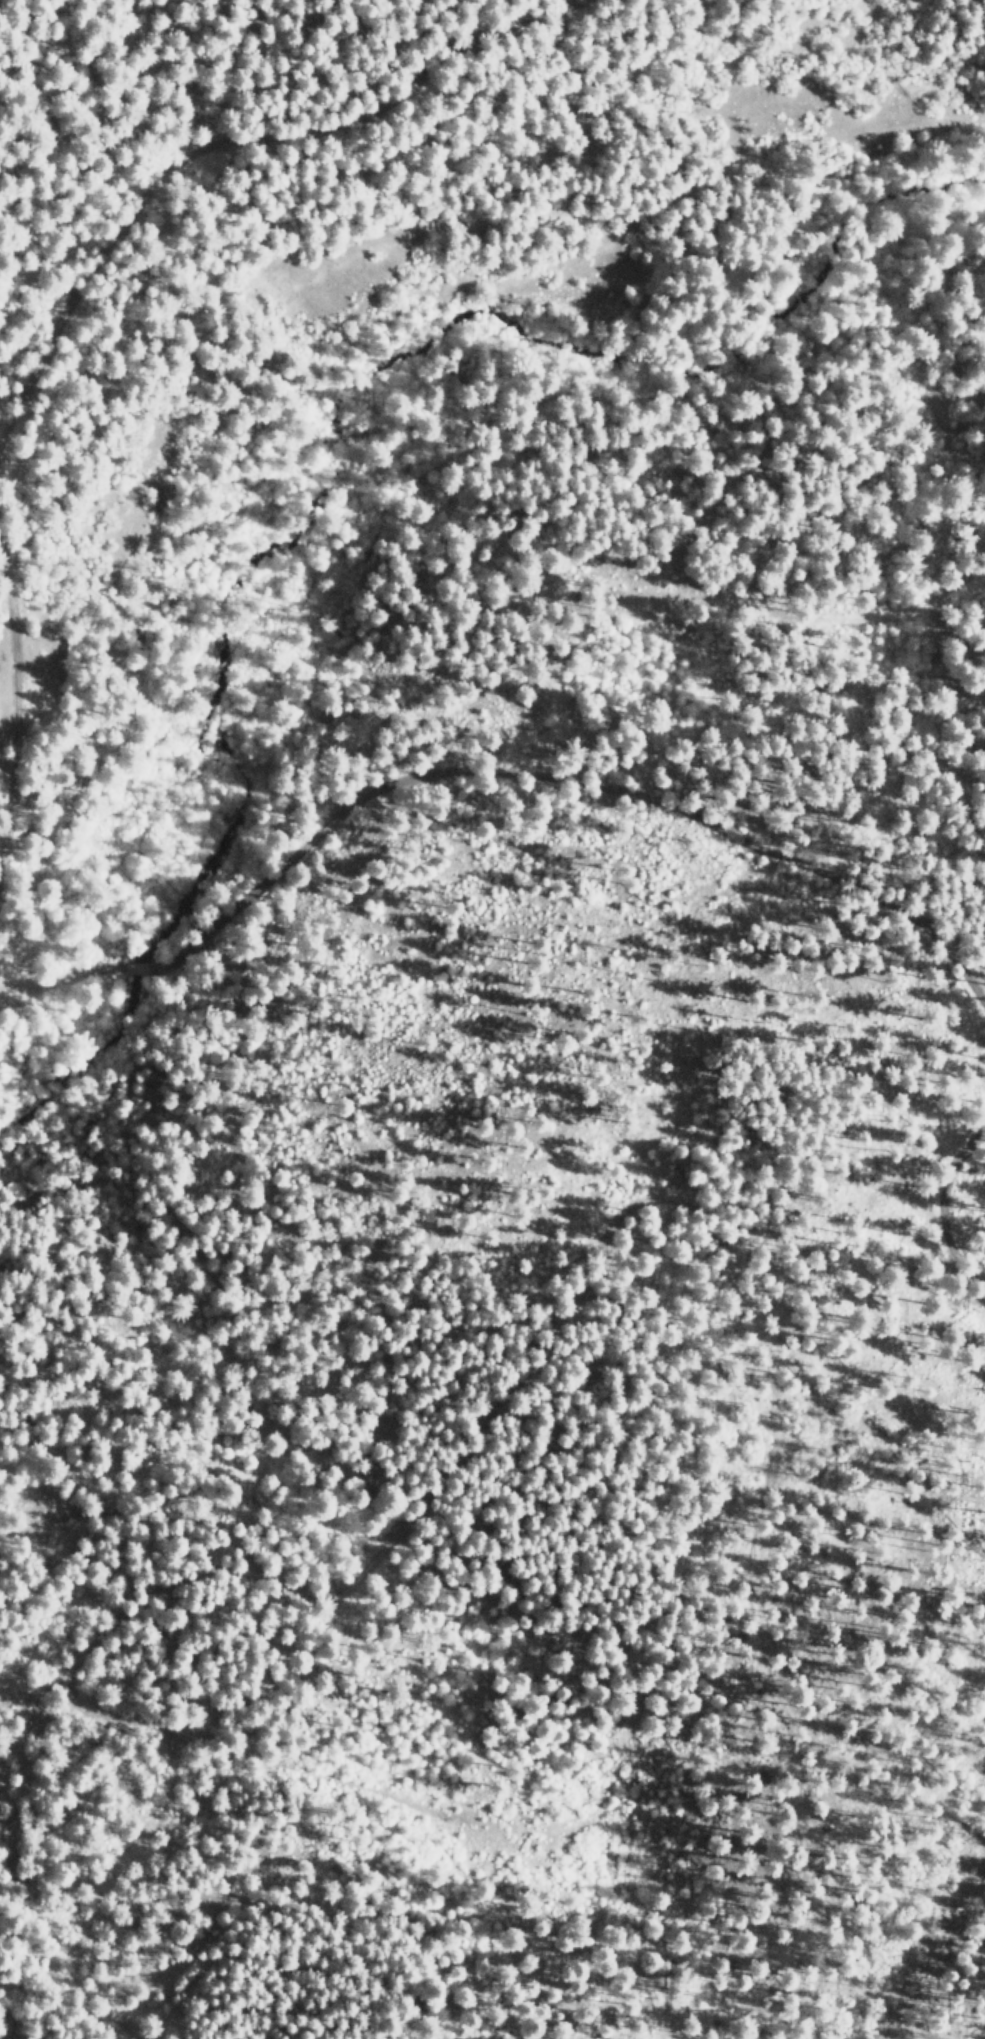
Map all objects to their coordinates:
road: (341, 132)
road: (474, 273)
road: (18, 712)
road: (509, 769)

